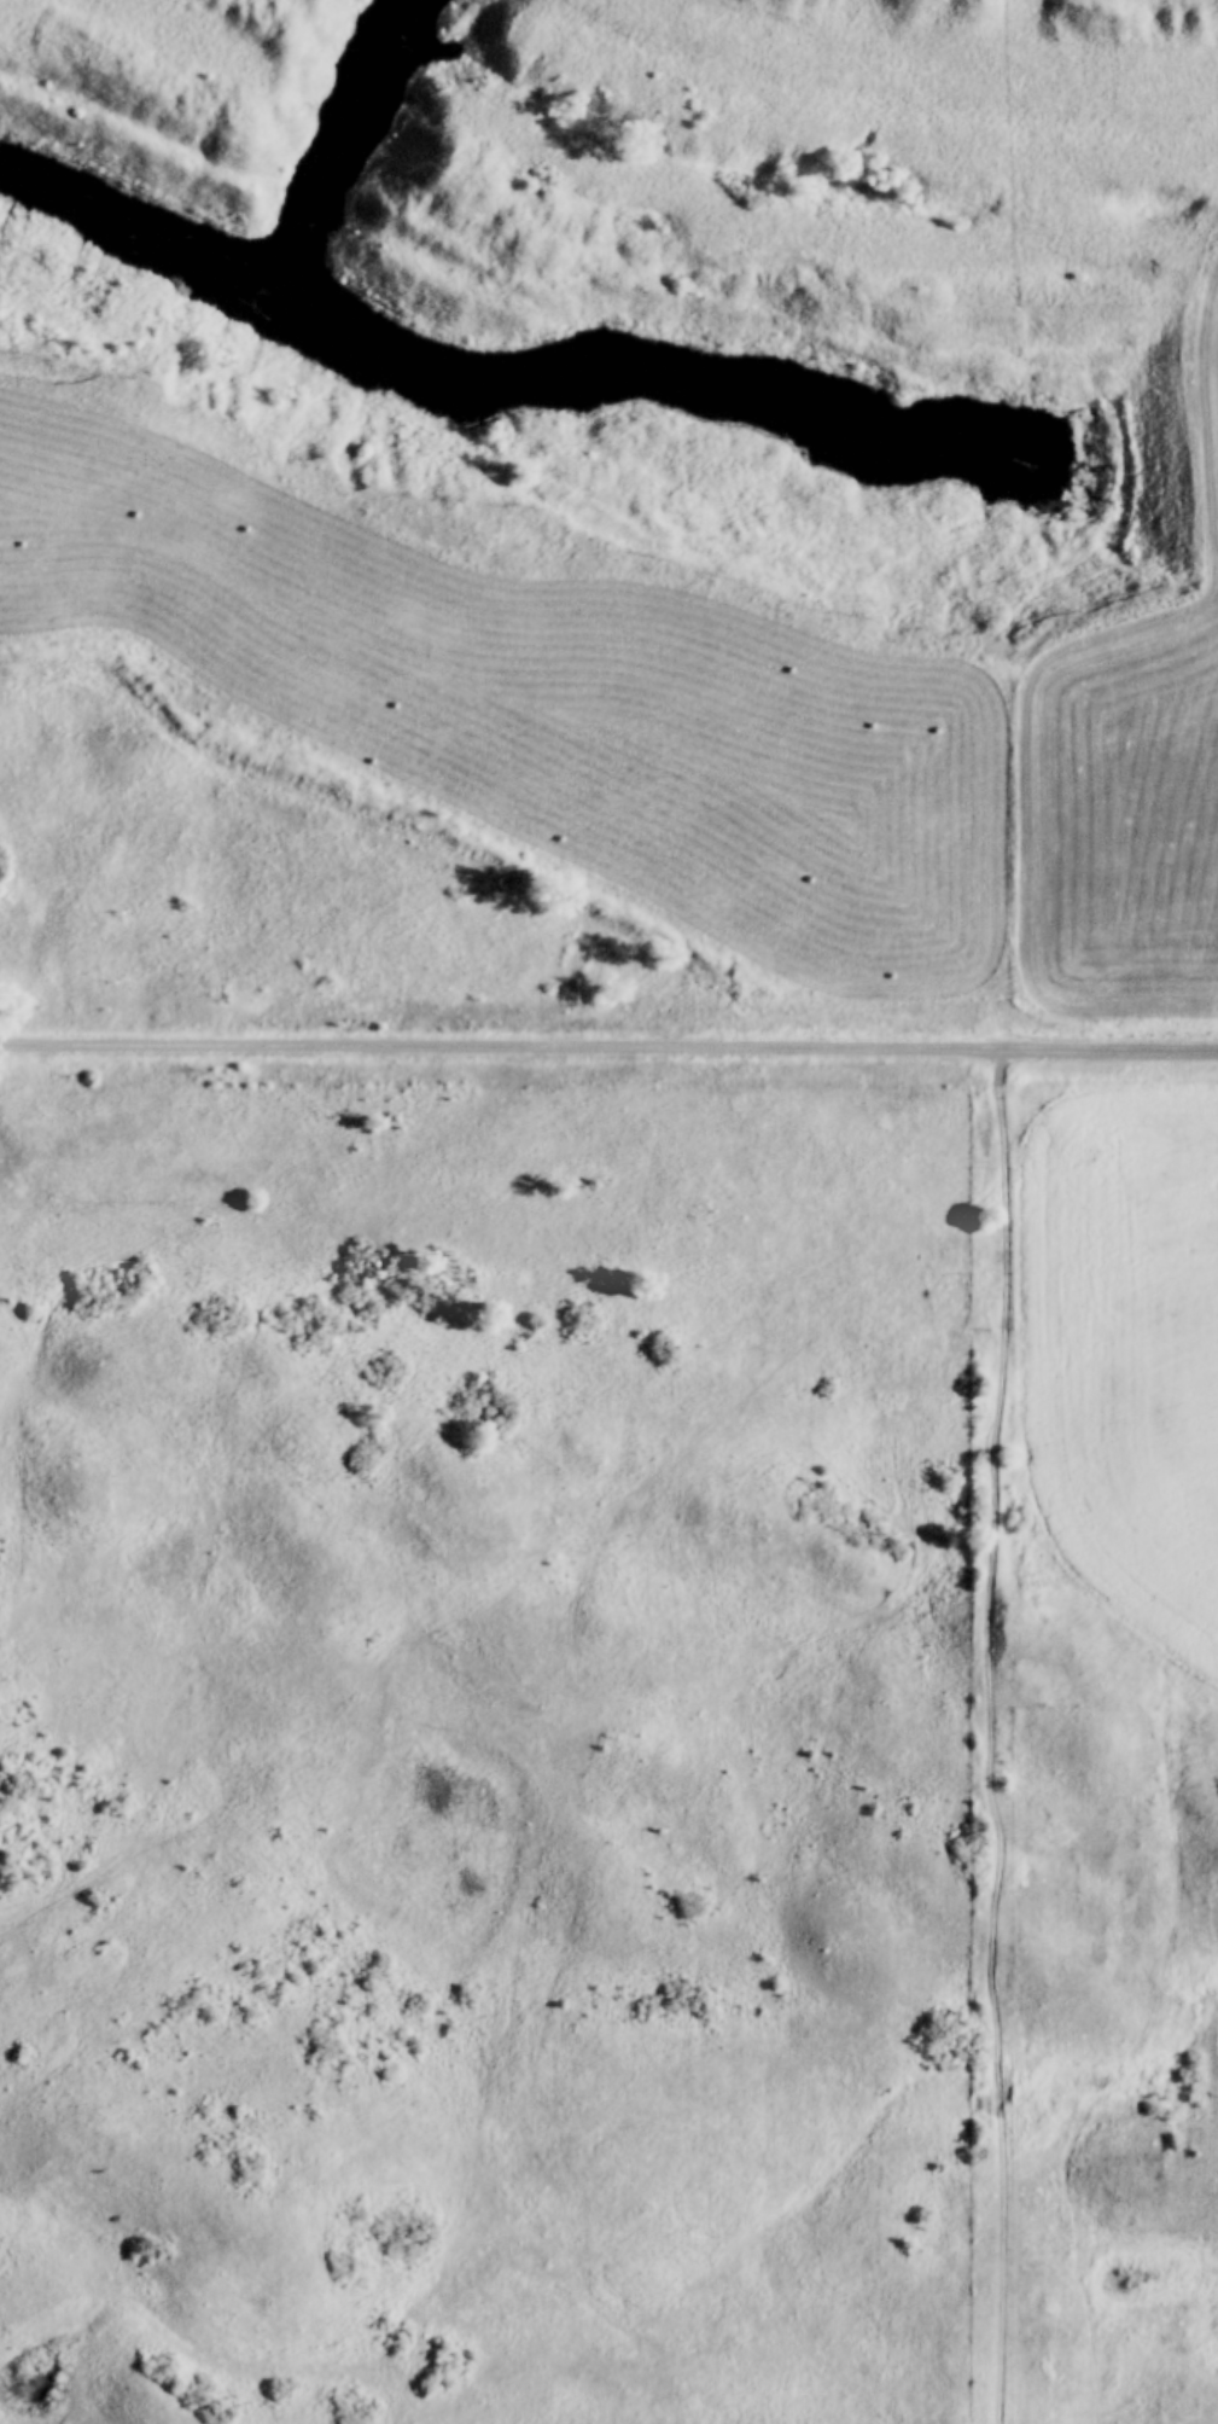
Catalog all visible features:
quarry: (659, 263)
road: (505, 1045)
road: (1114, 1051)
road: (993, 1504)

